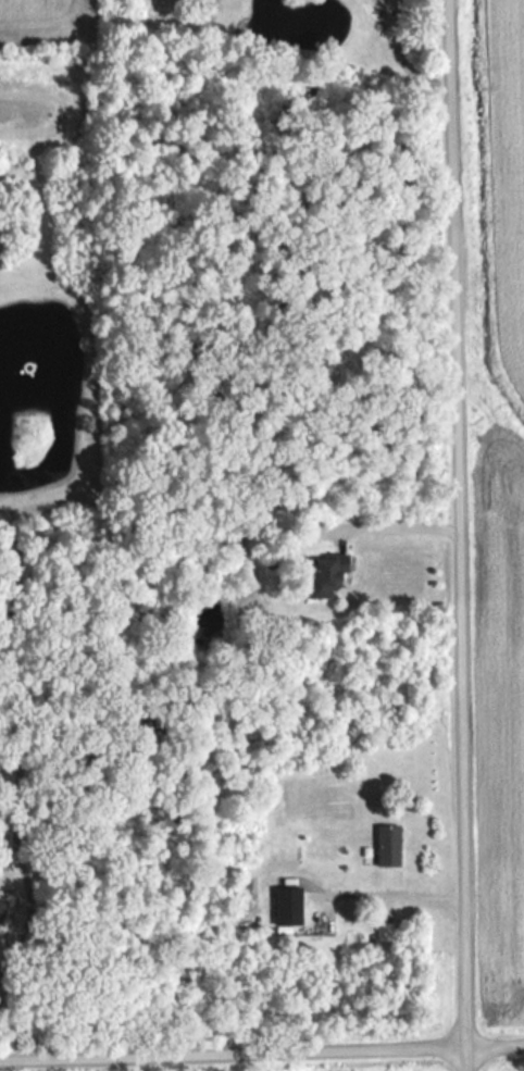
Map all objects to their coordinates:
road: (396, 59)
road: (399, 520)
road: (458, 535)
building: (330, 575)
building: (392, 846)
road: (383, 888)
building: (294, 908)
building: (5, 909)
road: (10, 1028)
road: (261, 1050)

